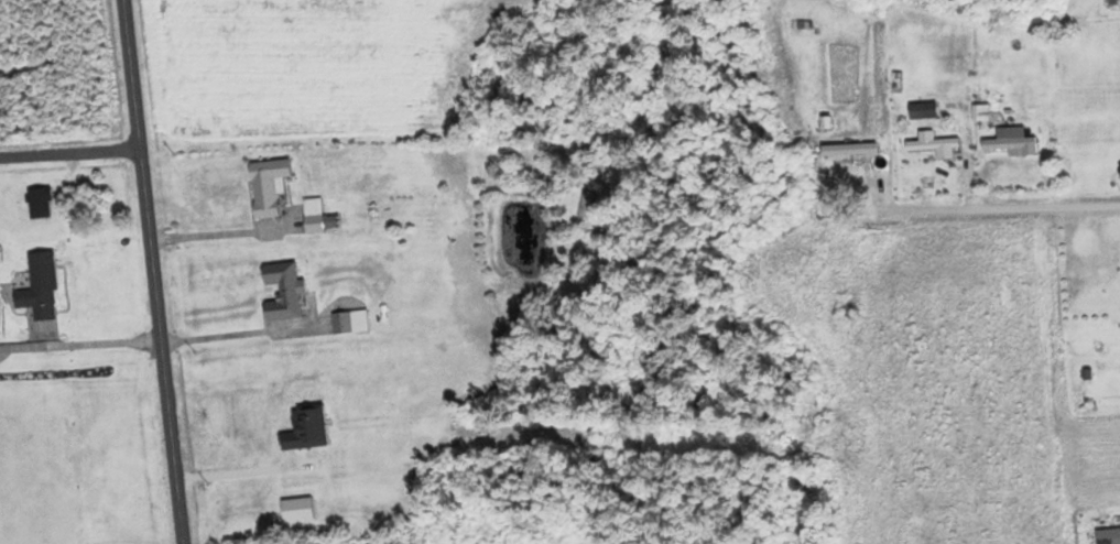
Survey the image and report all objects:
building: (923, 110)
building: (931, 142)
building: (1009, 143)
road: (70, 152)
building: (267, 185)
building: (39, 203)
building: (585, 204)
building: (316, 216)
road: (154, 272)
building: (39, 287)
building: (282, 290)
building: (844, 304)
building: (349, 322)
road: (173, 334)
building: (240, 428)

